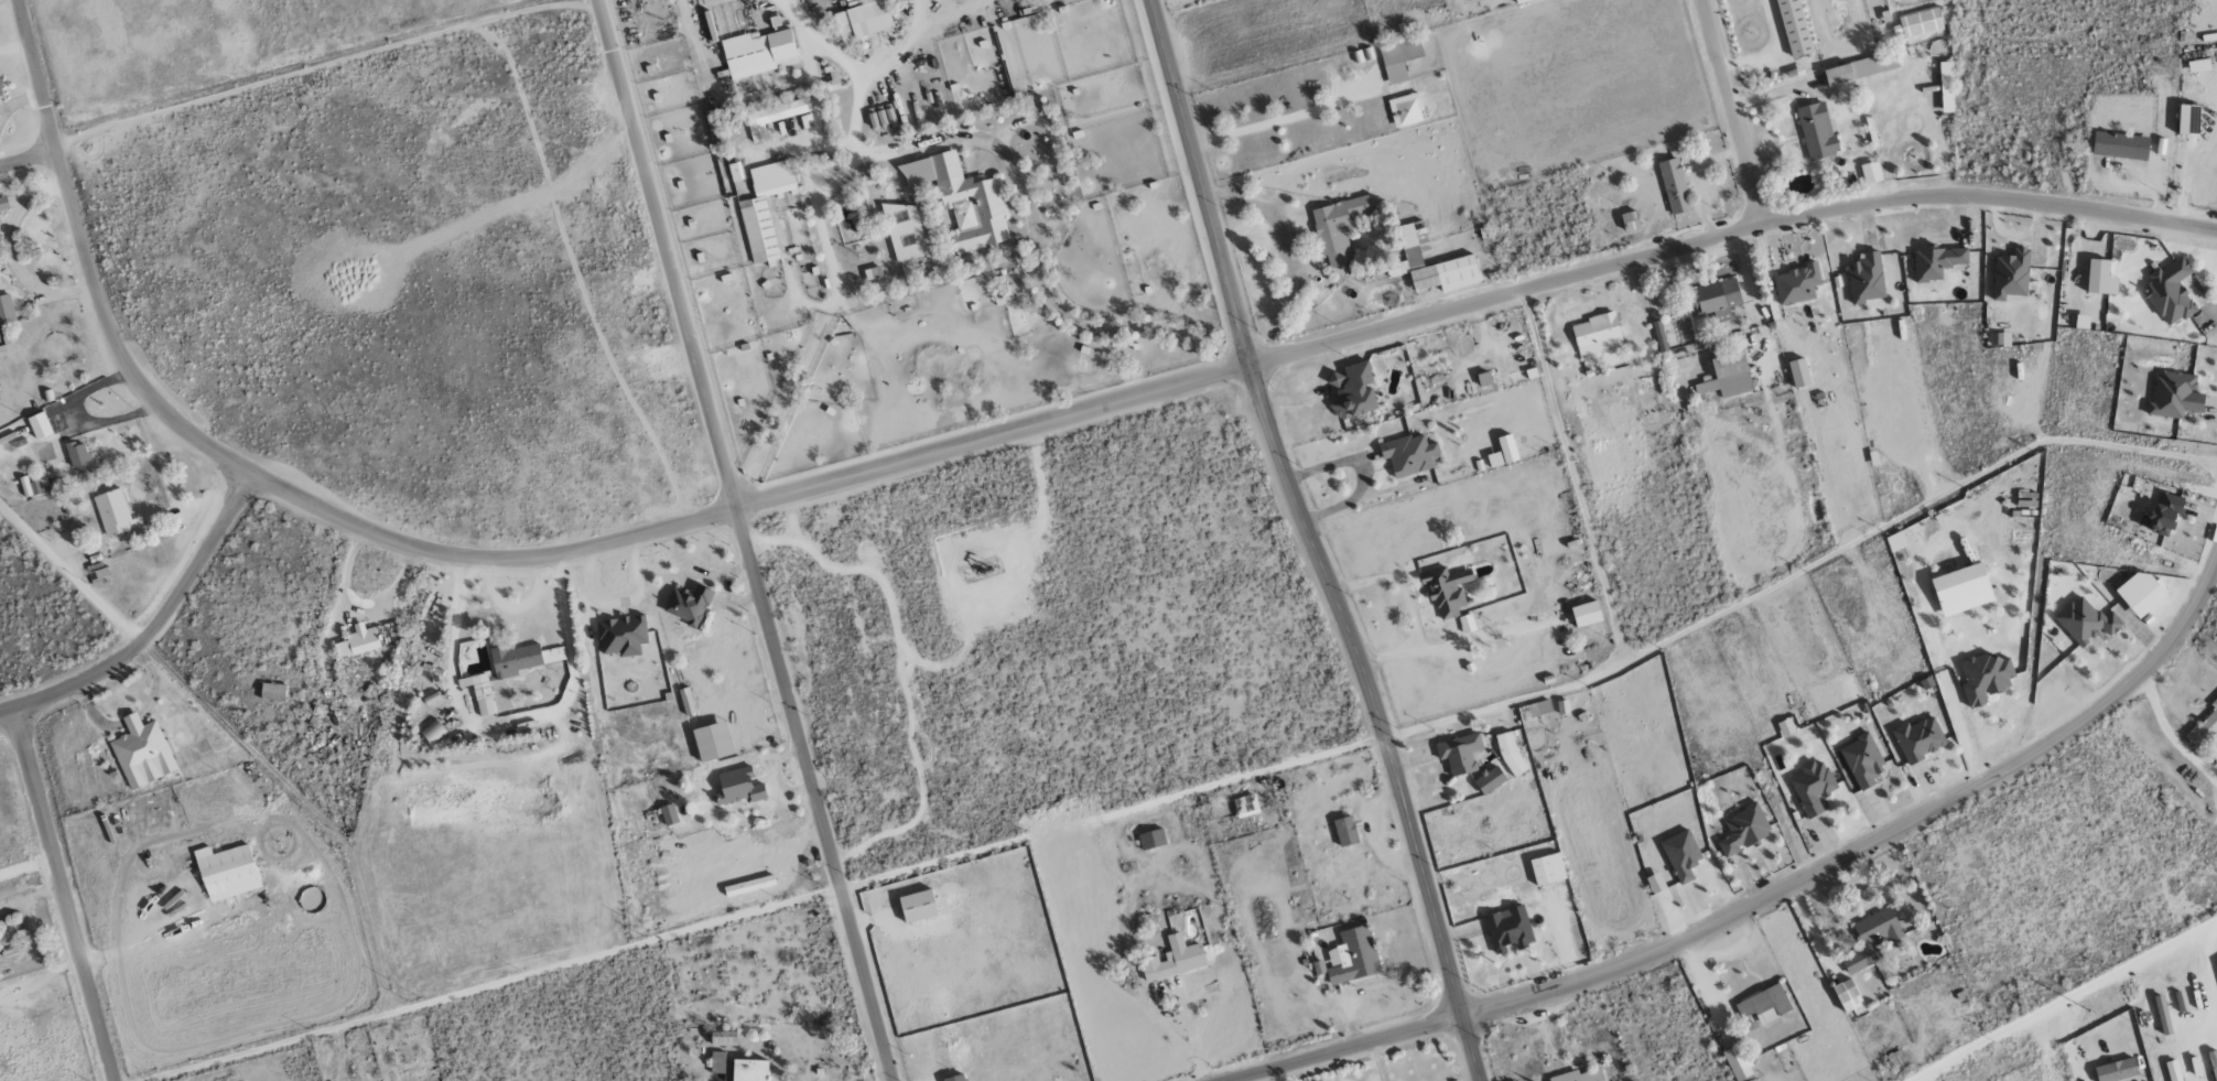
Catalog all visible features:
building: (1521, 1)
building: (862, 20)
building: (1919, 22)
building: (1793, 28)
building: (758, 53)
building: (1398, 56)
building: (2198, 65)
building: (1860, 68)
building: (833, 78)
building: (1946, 87)
building: (0, 91)
building: (1405, 109)
road: (1738, 112)
building: (774, 116)
building: (882, 119)
building: (2188, 119)
building: (1816, 130)
building: (2120, 145)
road: (30, 160)
building: (735, 172)
building: (1870, 172)
building: (1674, 185)
building: (963, 199)
building: (3, 204)
building: (765, 208)
building: (1630, 220)
building: (1338, 228)
building: (904, 231)
building: (1936, 261)
road: (90, 266)
building: (1431, 266)
building: (874, 273)
building: (2010, 274)
building: (2100, 277)
building: (1865, 278)
building: (1796, 283)
building: (2170, 292)
building: (1716, 299)
building: (6, 309)
building: (2081, 321)
building: (1596, 334)
building: (2000, 338)
road: (1226, 369)
building: (1798, 371)
building: (1727, 376)
building: (1483, 378)
building: (1352, 390)
building: (2174, 394)
building: (39, 425)
building: (1506, 448)
building: (1408, 454)
building: (78, 457)
building: (1494, 458)
building: (31, 487)
building: (113, 512)
building: (2160, 515)
road: (743, 540)
road: (1307, 542)
building: (1961, 588)
building: (1446, 590)
building: (2139, 592)
building: (688, 604)
building: (1586, 613)
building: (2086, 621)
road: (155, 624)
building: (621, 635)
building: (357, 641)
building: (1985, 678)
building: (272, 691)
building: (480, 693)
building: (685, 701)
building: (1534, 710)
building: (1785, 726)
building: (2204, 727)
building: (433, 732)
building: (1917, 738)
building: (141, 752)
building: (1459, 753)
building: (1507, 754)
building: (1862, 760)
building: (1489, 780)
building: (738, 786)
building: (1813, 787)
building: (1245, 806)
building: (668, 814)
building: (1743, 830)
building: (1344, 831)
building: (1151, 839)
building: (1680, 855)
building: (1547, 869)
building: (226, 872)
road: (67, 893)
road: (1767, 896)
building: (917, 906)
building: (1508, 929)
building: (1871, 939)
building: (1352, 956)
building: (1174, 960)
building: (1903, 965)
building: (1848, 996)
road: (2065, 1001)
building: (1764, 1005)
building: (2161, 1010)
building: (723, 1039)
building: (2213, 1058)
building: (1738, 1063)
building: (738, 1068)
building: (2116, 1070)
building: (2173, 1070)
building: (1579, 1075)
building: (954, 1078)

